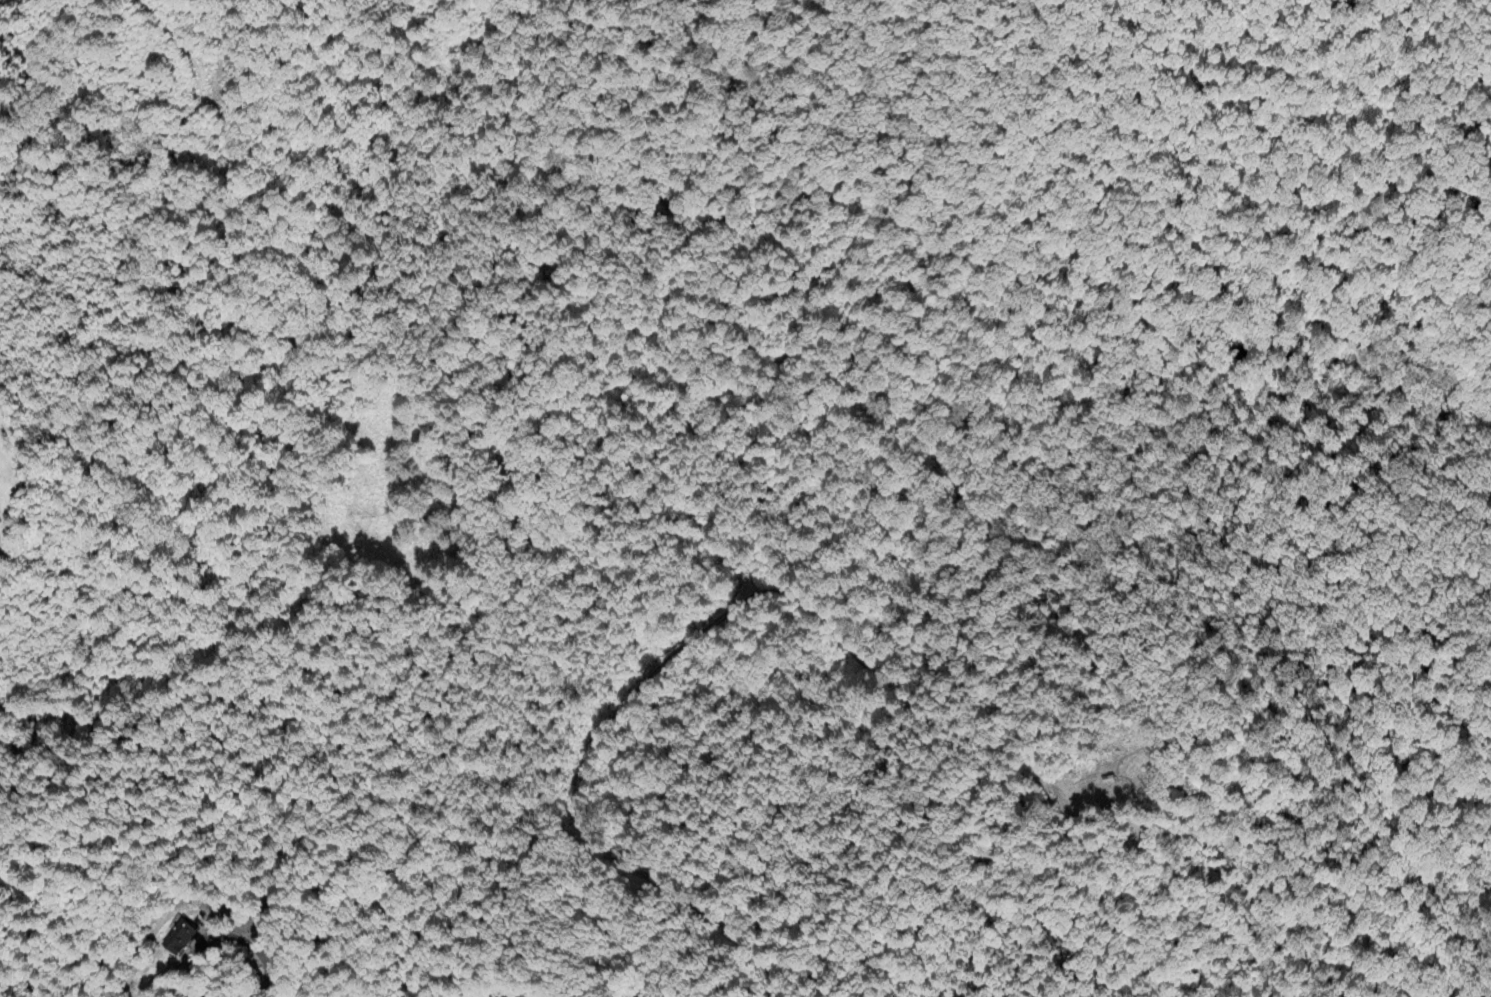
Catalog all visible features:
building: (183, 939)

